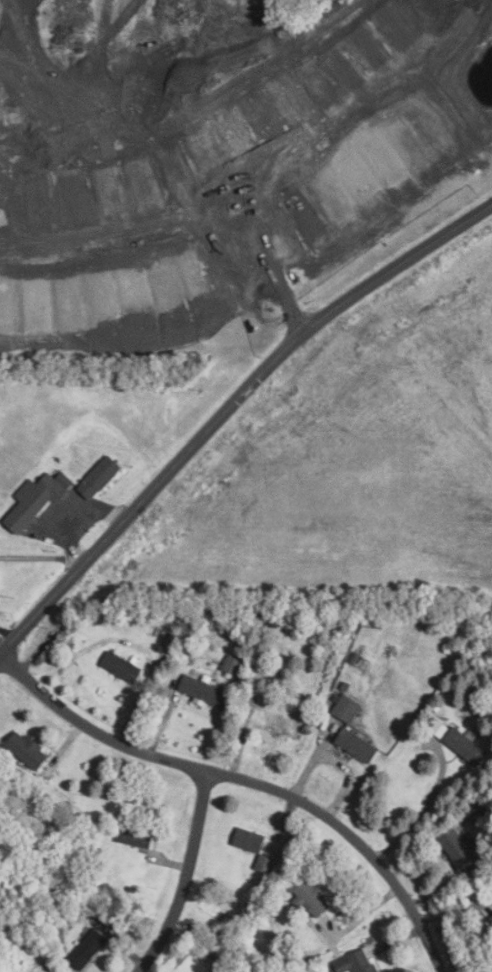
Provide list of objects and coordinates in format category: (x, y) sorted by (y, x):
road: (399, 44)
building: (225, 121)
road: (455, 126)
road: (225, 203)
road: (248, 279)
road: (227, 407)
building: (98, 477)
building: (35, 499)
road: (7, 633)
building: (231, 664)
building: (120, 667)
building: (202, 691)
building: (345, 708)
building: (355, 745)
building: (464, 746)
building: (26, 750)
road: (248, 781)
building: (133, 837)
building: (248, 839)
building: (455, 847)
road: (184, 875)
building: (309, 899)
building: (491, 918)
building: (86, 948)
building: (353, 962)

